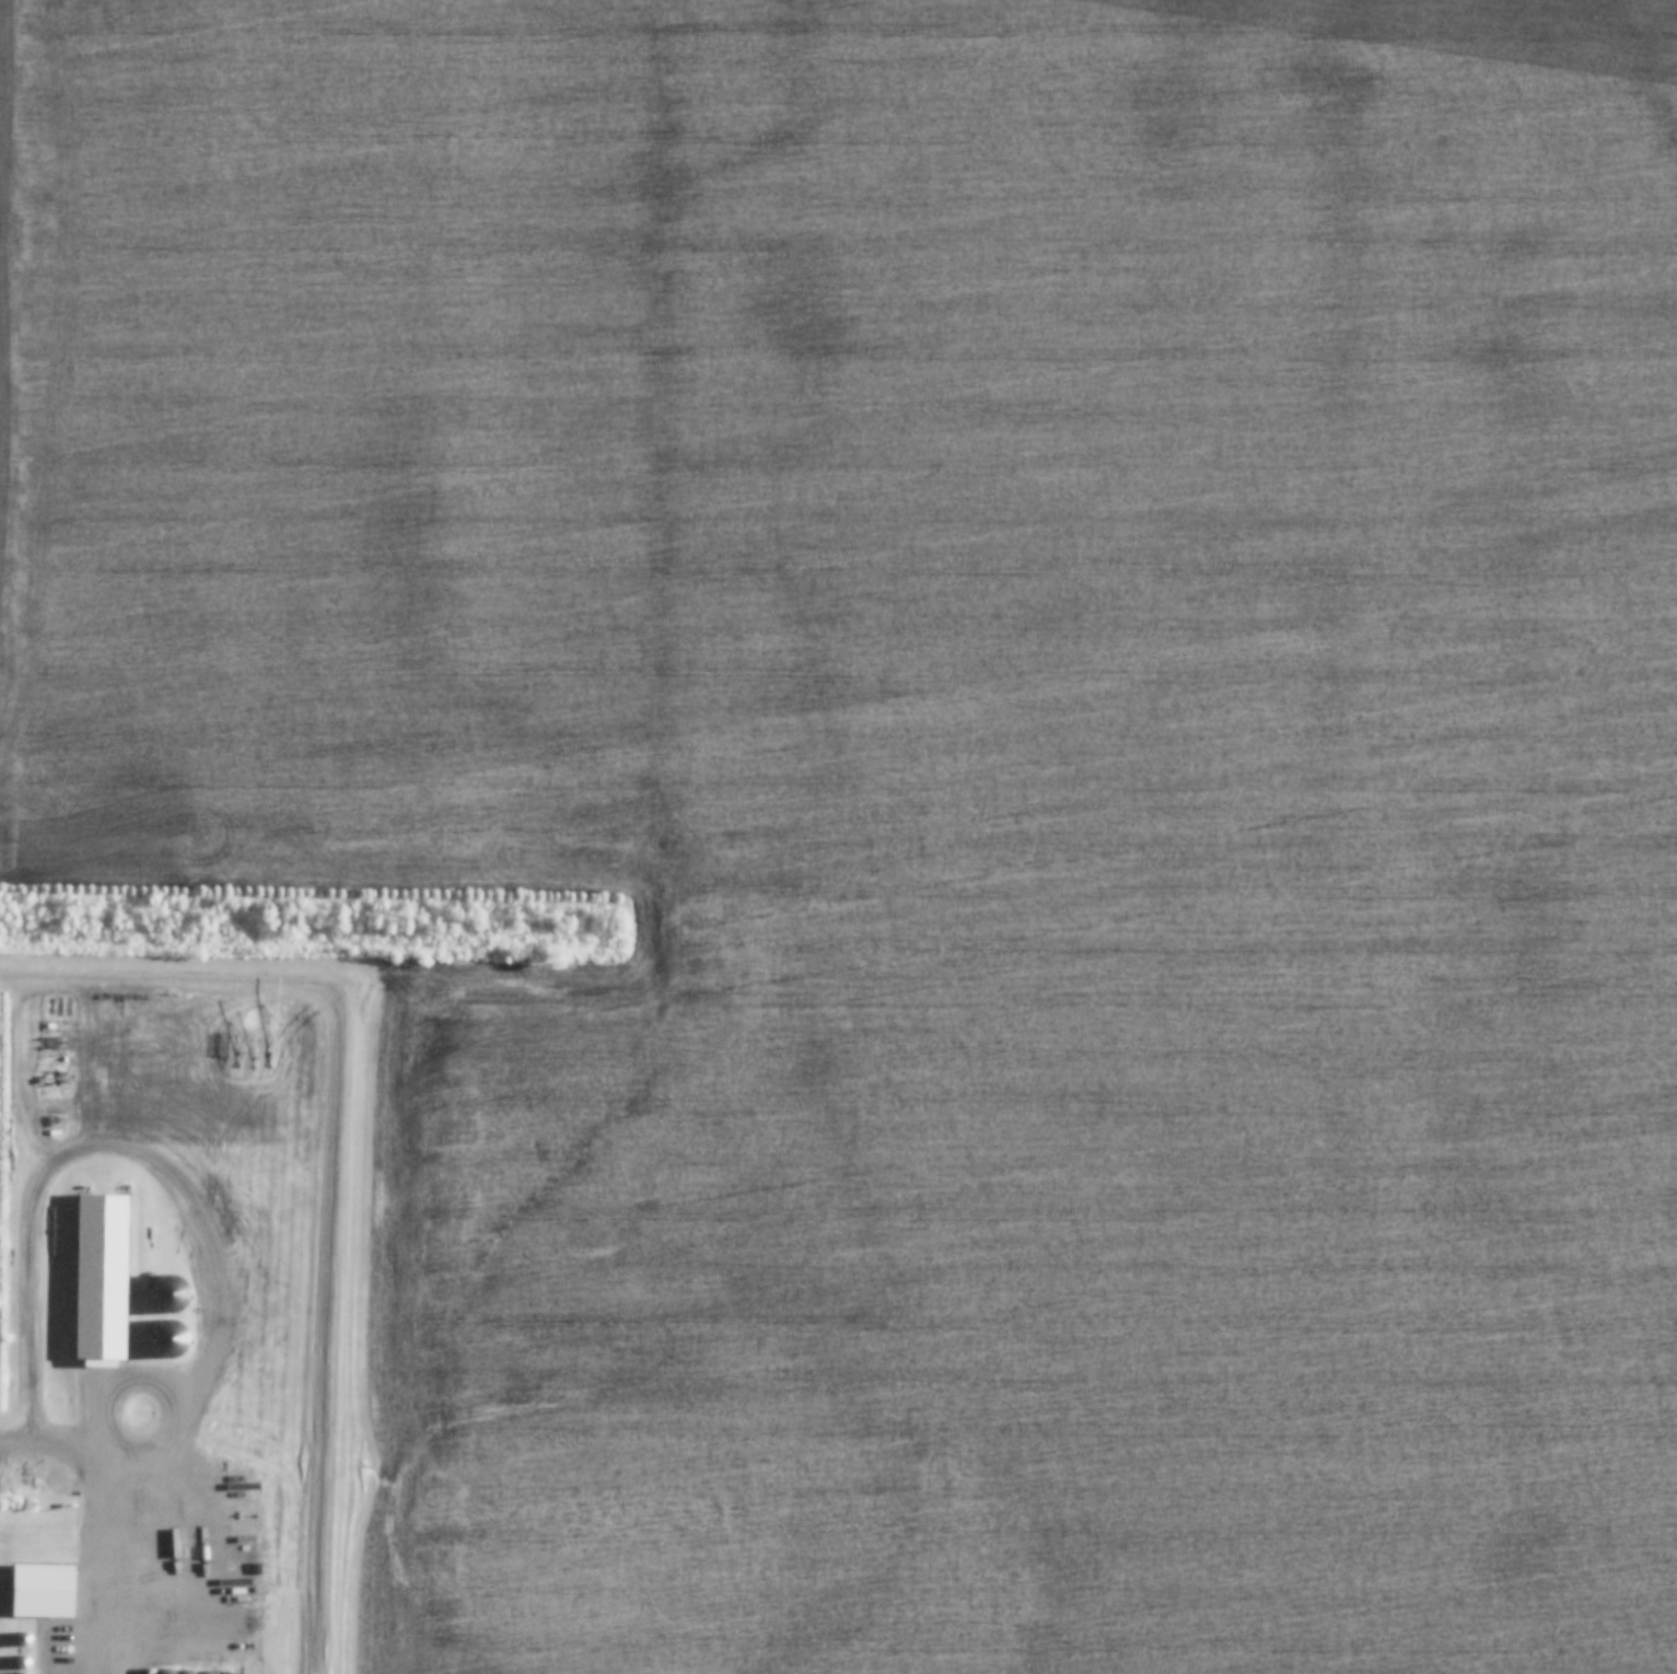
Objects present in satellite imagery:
road: (92, 1143)
building: (106, 1278)
road: (116, 1441)
road: (56, 1445)
road: (141, 1516)
building: (48, 1590)
road: (135, 1628)

